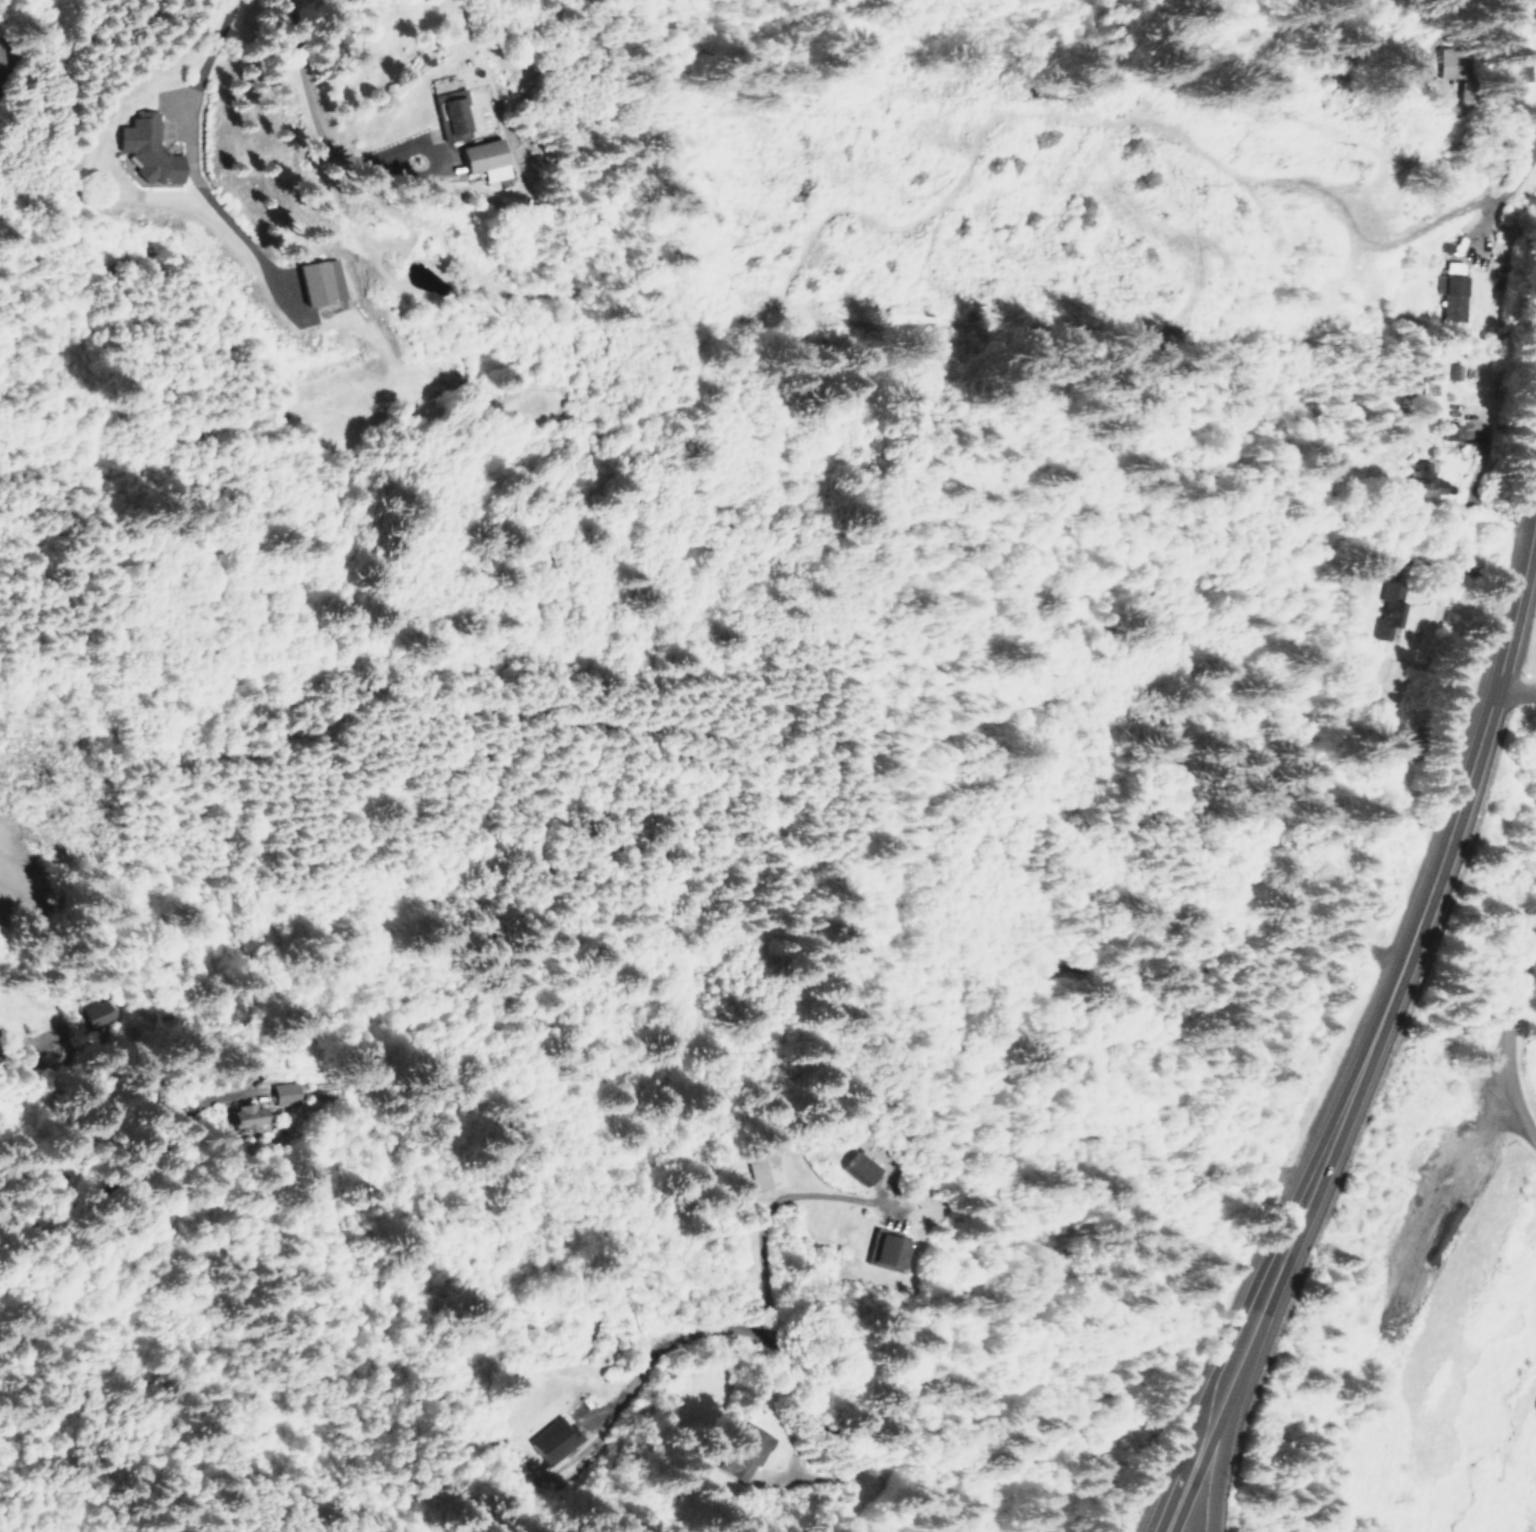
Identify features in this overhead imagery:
building: (1448, 61)
building: (450, 112)
building: (146, 148)
building: (483, 157)
building: (320, 281)
building: (1463, 371)
building: (1454, 434)
building: (1423, 483)
road: (1515, 605)
building: (1389, 612)
road: (1515, 692)
building: (96, 1012)
road: (1510, 1045)
building: (284, 1092)
road: (1340, 1114)
building: (246, 1118)
building: (856, 1167)
building: (764, 1169)
road: (13, 1179)
building: (882, 1250)
building: (553, 1440)
building: (743, 1450)
road: (1219, 1457)
building: (693, 1465)

